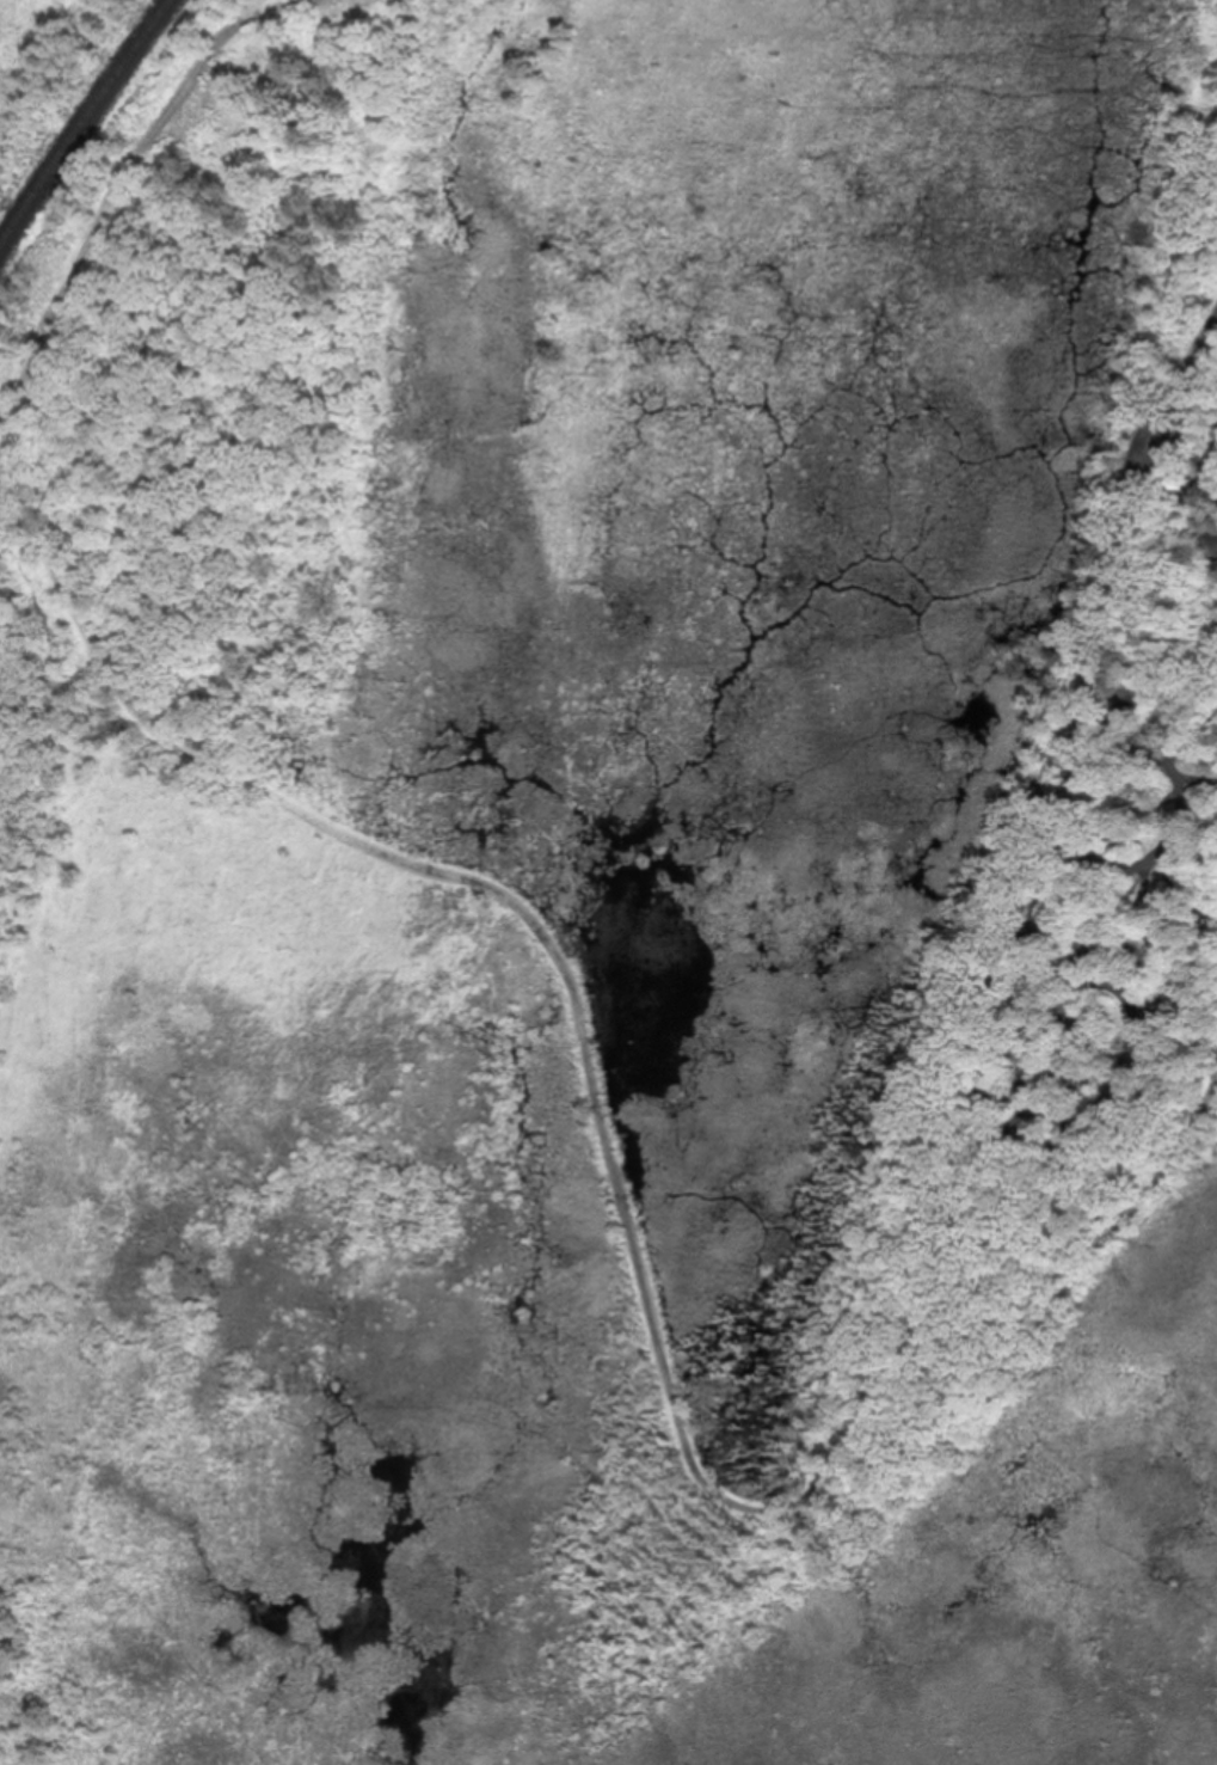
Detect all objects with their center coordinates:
railway: (82, 125)
road: (121, 186)
road: (1181, 380)
road: (1182, 460)
road: (1174, 814)
park: (608, 882)
road: (1034, 913)
road: (620, 1196)

